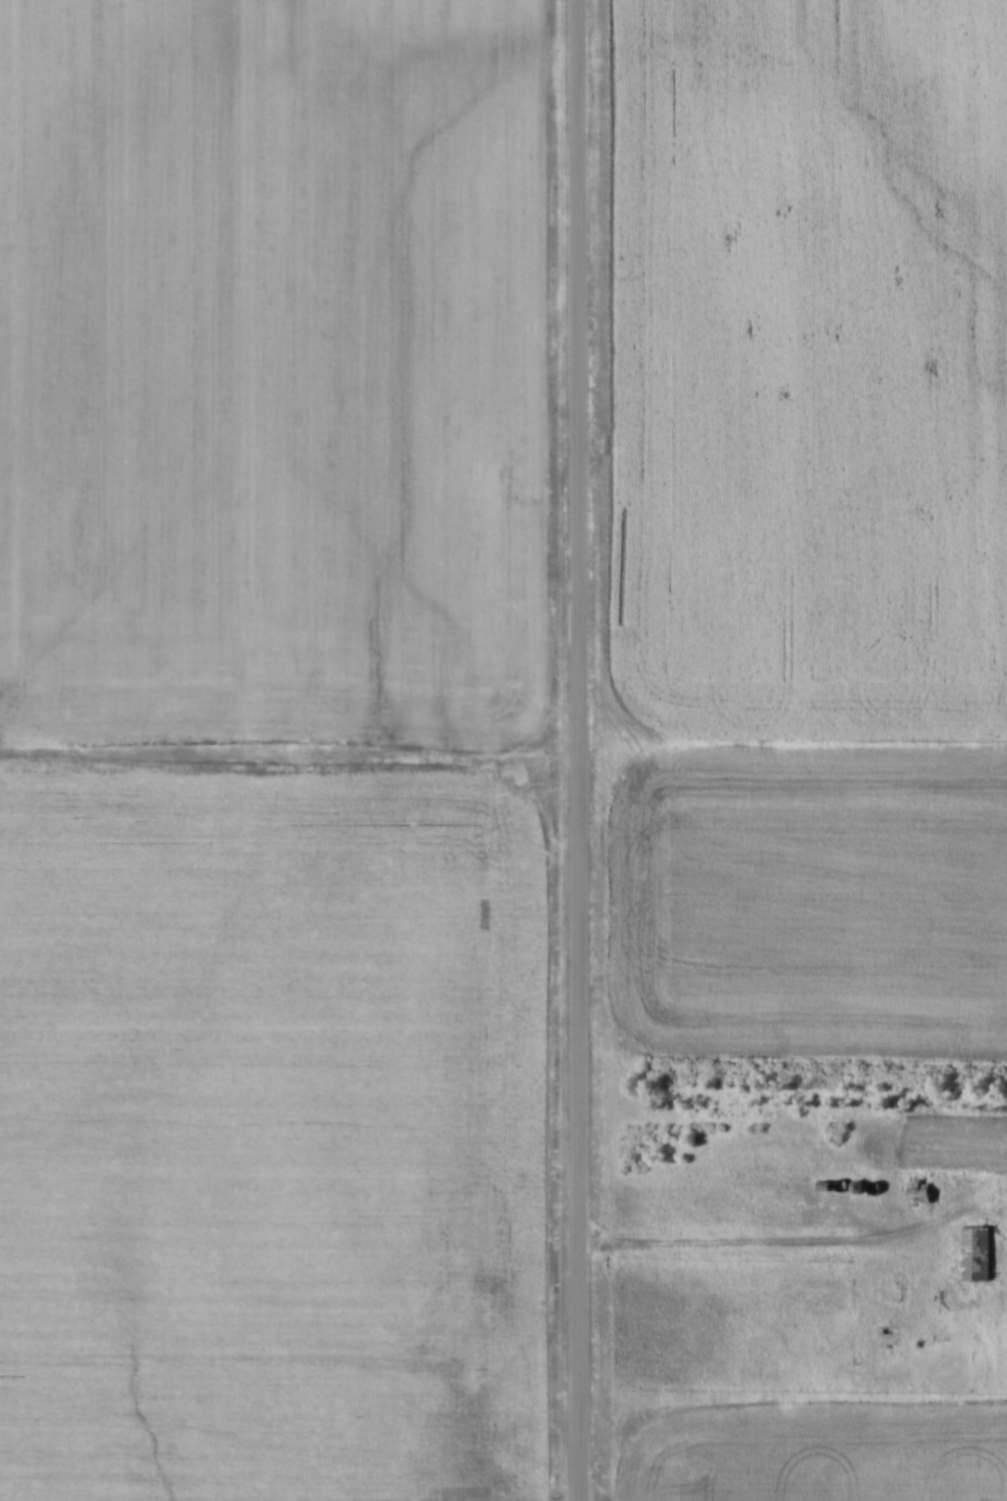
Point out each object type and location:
road: (579, 750)
building: (839, 1180)
silo: (839, 1180)
building: (822, 1182)
building: (855, 1182)
silo: (855, 1182)
building: (872, 1183)
silo: (872, 1183)
building: (916, 1191)
building: (973, 1249)

